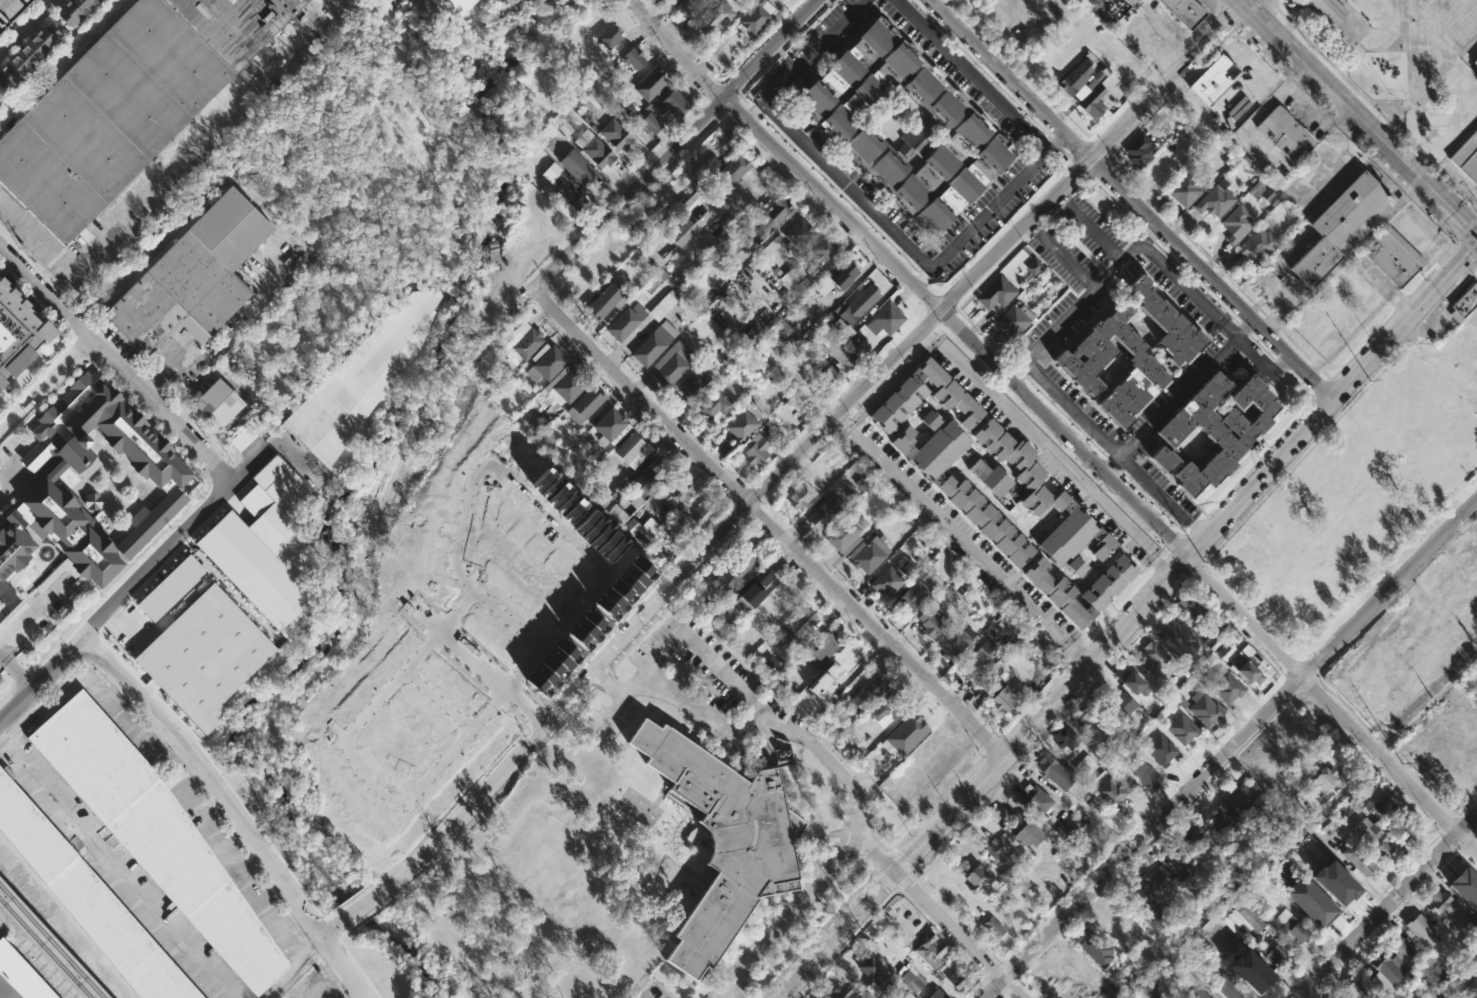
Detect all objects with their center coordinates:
building: (1105, 0)
building: (1131, 1)
road: (1217, 2)
road: (1273, 2)
building: (689, 6)
building: (451, 7)
park: (1450, 8)
building: (10, 10)
parking garage: (10, 10)
building: (74, 10)
building: (1327, 10)
building: (1185, 11)
road: (1250, 11)
road: (1229, 14)
building: (713, 15)
building: (758, 16)
road: (310, 18)
building: (236, 24)
road: (1400, 24)
road: (1028, 26)
road: (26, 27)
building: (608, 37)
road: (1254, 38)
park: (1418, 45)
road: (1382, 48)
road: (676, 49)
road: (1211, 52)
building: (27, 56)
building: (633, 58)
road: (1247, 58)
road: (1275, 59)
park: (1401, 60)
building: (1475, 61)
building: (840, 69)
road: (980, 69)
road: (1289, 72)
building: (149, 73)
road: (970, 74)
road: (1408, 77)
building: (1214, 78)
building: (1080, 79)
building: (652, 84)
road: (1179, 84)
road: (1303, 87)
building: (1097, 97)
road: (1370, 101)
building: (673, 105)
road: (1229, 108)
road: (756, 110)
road: (1400, 110)
road: (1259, 112)
road: (1359, 117)
road: (1393, 117)
road: (1315, 120)
building: (845, 125)
building: (614, 133)
building: (1285, 134)
road: (676, 143)
road: (1055, 144)
building: (1140, 149)
building: (597, 152)
road: (1064, 154)
building: (1467, 157)
building: (65, 158)
road: (1333, 165)
road: (1383, 165)
building: (576, 166)
road: (1077, 166)
road: (1096, 166)
building: (1163, 167)
road: (226, 172)
building: (731, 172)
road: (1092, 180)
road: (745, 181)
building: (964, 184)
building: (1184, 190)
building: (567, 196)
road: (1064, 199)
road: (1131, 199)
road: (864, 200)
building: (1215, 200)
road: (119, 207)
road: (1049, 214)
building: (769, 217)
building: (1237, 223)
building: (682, 224)
building: (1339, 225)
road: (1467, 227)
road: (1035, 229)
building: (799, 233)
road: (1455, 242)
road: (1154, 243)
building: (1258, 244)
road: (1467, 246)
road: (146, 250)
building: (819, 253)
road: (996, 254)
road: (1446, 254)
road: (1061, 255)
building: (1392, 255)
road: (1473, 263)
road: (264, 265)
building: (1034, 267)
road: (1217, 267)
road: (1466, 271)
road: (921, 274)
building: (191, 276)
building: (836, 278)
road: (1424, 280)
road: (983, 283)
building: (996, 293)
building: (605, 300)
road: (1438, 301)
building: (1464, 303)
building: (857, 304)
road: (1401, 305)
road: (34, 309)
road: (1074, 310)
building: (639, 316)
building: (1015, 318)
building: (885, 320)
building: (1167, 324)
road: (954, 327)
road: (1242, 328)
building: (18, 333)
road: (1408, 333)
road: (930, 336)
building: (653, 344)
building: (522, 345)
road: (1262, 347)
road: (77, 352)
building: (841, 353)
building: (545, 363)
building: (672, 363)
road: (116, 365)
building: (1080, 365)
road: (1280, 365)
building: (820, 367)
building: (1463, 368)
road: (173, 370)
road: (31, 371)
building: (361, 379)
building: (693, 382)
road: (45, 383)
road: (59, 383)
building: (563, 387)
road: (1187, 388)
road: (1322, 388)
building: (949, 393)
road: (1332, 397)
road: (641, 398)
building: (216, 403)
building: (898, 404)
building: (584, 405)
building: (716, 408)
building: (741, 426)
building: (610, 427)
building: (1214, 429)
road: (171, 441)
road: (1054, 442)
road: (1273, 443)
building: (933, 445)
building: (631, 450)
building: (756, 450)
road: (1300, 452)
road: (1055, 456)
building: (651, 476)
building: (991, 478)
building: (172, 482)
building: (676, 492)
building: (1039, 495)
building: (801, 496)
road: (465, 511)
road: (546, 511)
building: (823, 513)
building: (701, 515)
building: (986, 520)
road: (1197, 526)
building: (639, 529)
road: (1196, 530)
building: (846, 534)
road: (1181, 535)
road: (961, 539)
road: (1192, 546)
building: (1103, 547)
road: (1176, 547)
building: (263, 553)
building: (867, 554)
road: (1178, 563)
road: (1180, 564)
road: (1160, 566)
building: (736, 567)
building: (905, 567)
road: (1197, 569)
building: (1472, 572)
road: (139, 577)
building: (886, 581)
building: (1108, 583)
building: (1446, 586)
building: (1056, 593)
building: (749, 595)
road: (354, 598)
building: (912, 599)
road: (1387, 602)
building: (1194, 608)
road: (1119, 611)
building: (127, 617)
road: (1128, 618)
building: (1470, 621)
building: (929, 624)
building: (797, 627)
road: (878, 628)
building: (1177, 640)
building: (954, 641)
building: (1212, 641)
building: (184, 642)
building: (1025, 646)
building: (823, 650)
building: (1153, 655)
road: (1077, 658)
building: (1392, 660)
building: (974, 663)
building: (1247, 666)
road: (14, 671)
building: (243, 671)
building: (147, 673)
road: (730, 677)
road: (55, 680)
building: (1133, 682)
building: (1225, 685)
road: (1307, 686)
building: (991, 688)
road: (116, 690)
road: (624, 690)
building: (867, 693)
building: (1007, 697)
road: (438, 700)
road: (1330, 704)
building: (1117, 706)
building: (885, 707)
road: (1034, 707)
building: (1205, 708)
road: (487, 709)
building: (1088, 722)
road: (543, 729)
building: (1182, 730)
building: (1476, 735)
building: (1064, 737)
road: (1239, 739)
building: (1160, 750)
road: (1009, 767)
building: (1143, 771)
building: (1056, 773)
road: (167, 774)
building: (1442, 774)
building: (1273, 777)
building: (1324, 781)
road: (195, 782)
building: (1115, 788)
building: (1247, 795)
building: (1035, 801)
road: (1467, 805)
building: (1304, 807)
road: (236, 808)
building: (1384, 808)
building: (1223, 815)
road: (1467, 823)
road: (1449, 824)
road: (931, 830)
building: (1028, 830)
building: (151, 833)
building: (1065, 833)
road: (1155, 836)
building: (1377, 838)
building: (1207, 840)
road: (1450, 840)
road: (1468, 840)
building: (721, 842)
building: (998, 850)
building: (1358, 862)
building: (1181, 863)
road: (117, 867)
road: (912, 872)
building: (975, 878)
building: (1468, 879)
road: (903, 880)
building: (1158, 880)
building: (1337, 885)
road: (896, 890)
road: (900, 892)
building: (1464, 893)
building: (1138, 900)
building: (88, 902)
building: (1442, 902)
road: (1385, 906)
road: (1401, 907)
road: (1358, 914)
road: (786, 916)
building: (1244, 919)
building: (1111, 922)
road: (947, 924)
building: (1293, 925)
building: (1422, 930)
railway: (52, 941)
building: (1099, 946)
railway: (46, 948)
building: (929, 948)
building: (1274, 956)
road: (999, 960)
building: (1393, 965)
road: (296, 968)
building: (874, 968)
building: (1245, 968)
road: (985, 975)
road: (984, 976)
road: (1018, 977)
building: (18, 978)
road: (1327, 981)
building: (915, 983)
building: (1222, 986)
road: (724, 988)
road: (992, 988)
road: (1011, 988)
building: (1358, 988)
building: (1043, 989)
road: (1026, 990)
building: (840, 992)
building: (1092, 992)
building: (933, 993)
road: (1002, 994)
road: (1002, 995)
building: (1201, 995)
road: (643, 996)

